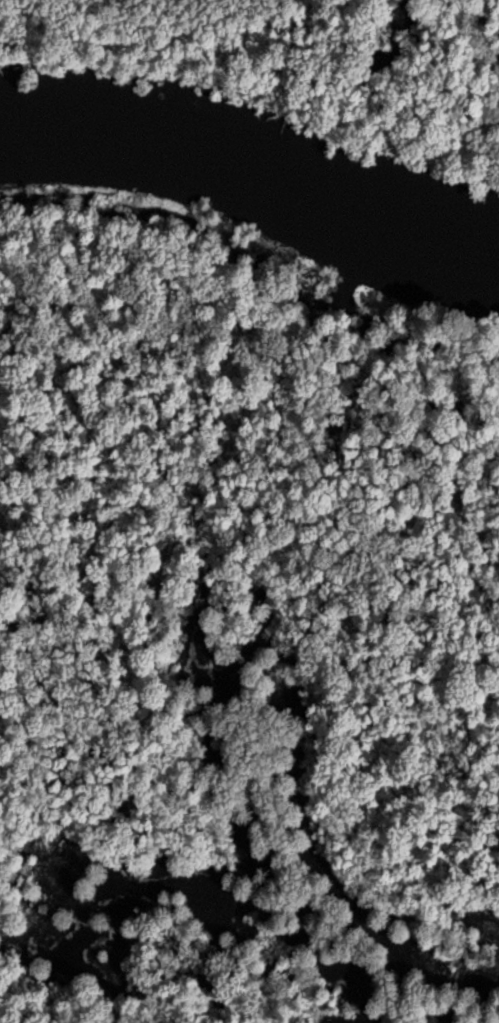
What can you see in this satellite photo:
river: (253, 208)

